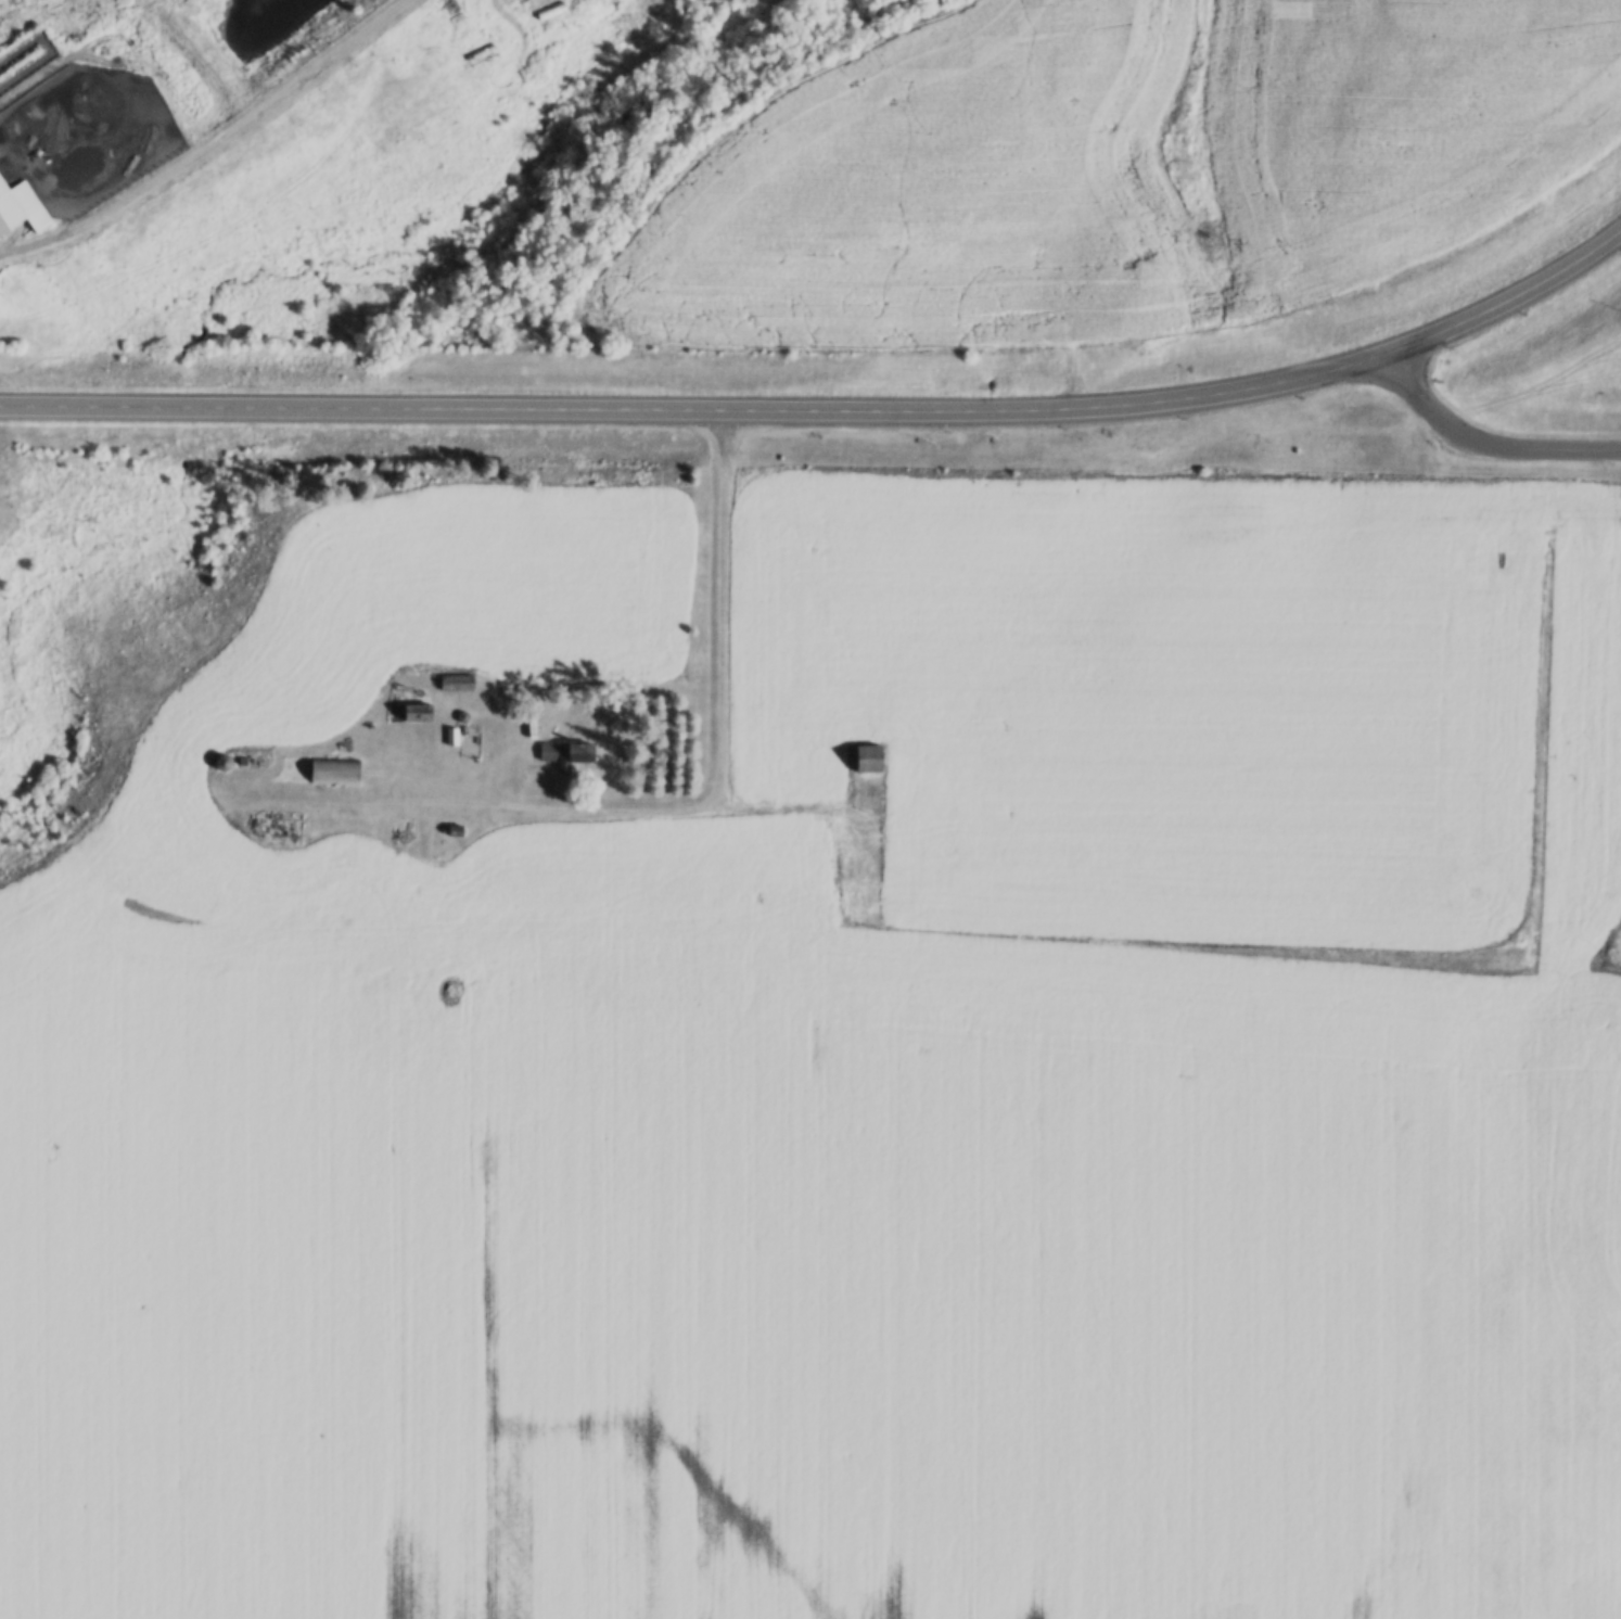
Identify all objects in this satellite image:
building: (515, 49)
road: (1409, 345)
road: (586, 404)
road: (1486, 441)
building: (567, 754)
building: (872, 760)
building: (336, 772)
road: (697, 800)
crop: (1222, 1291)

